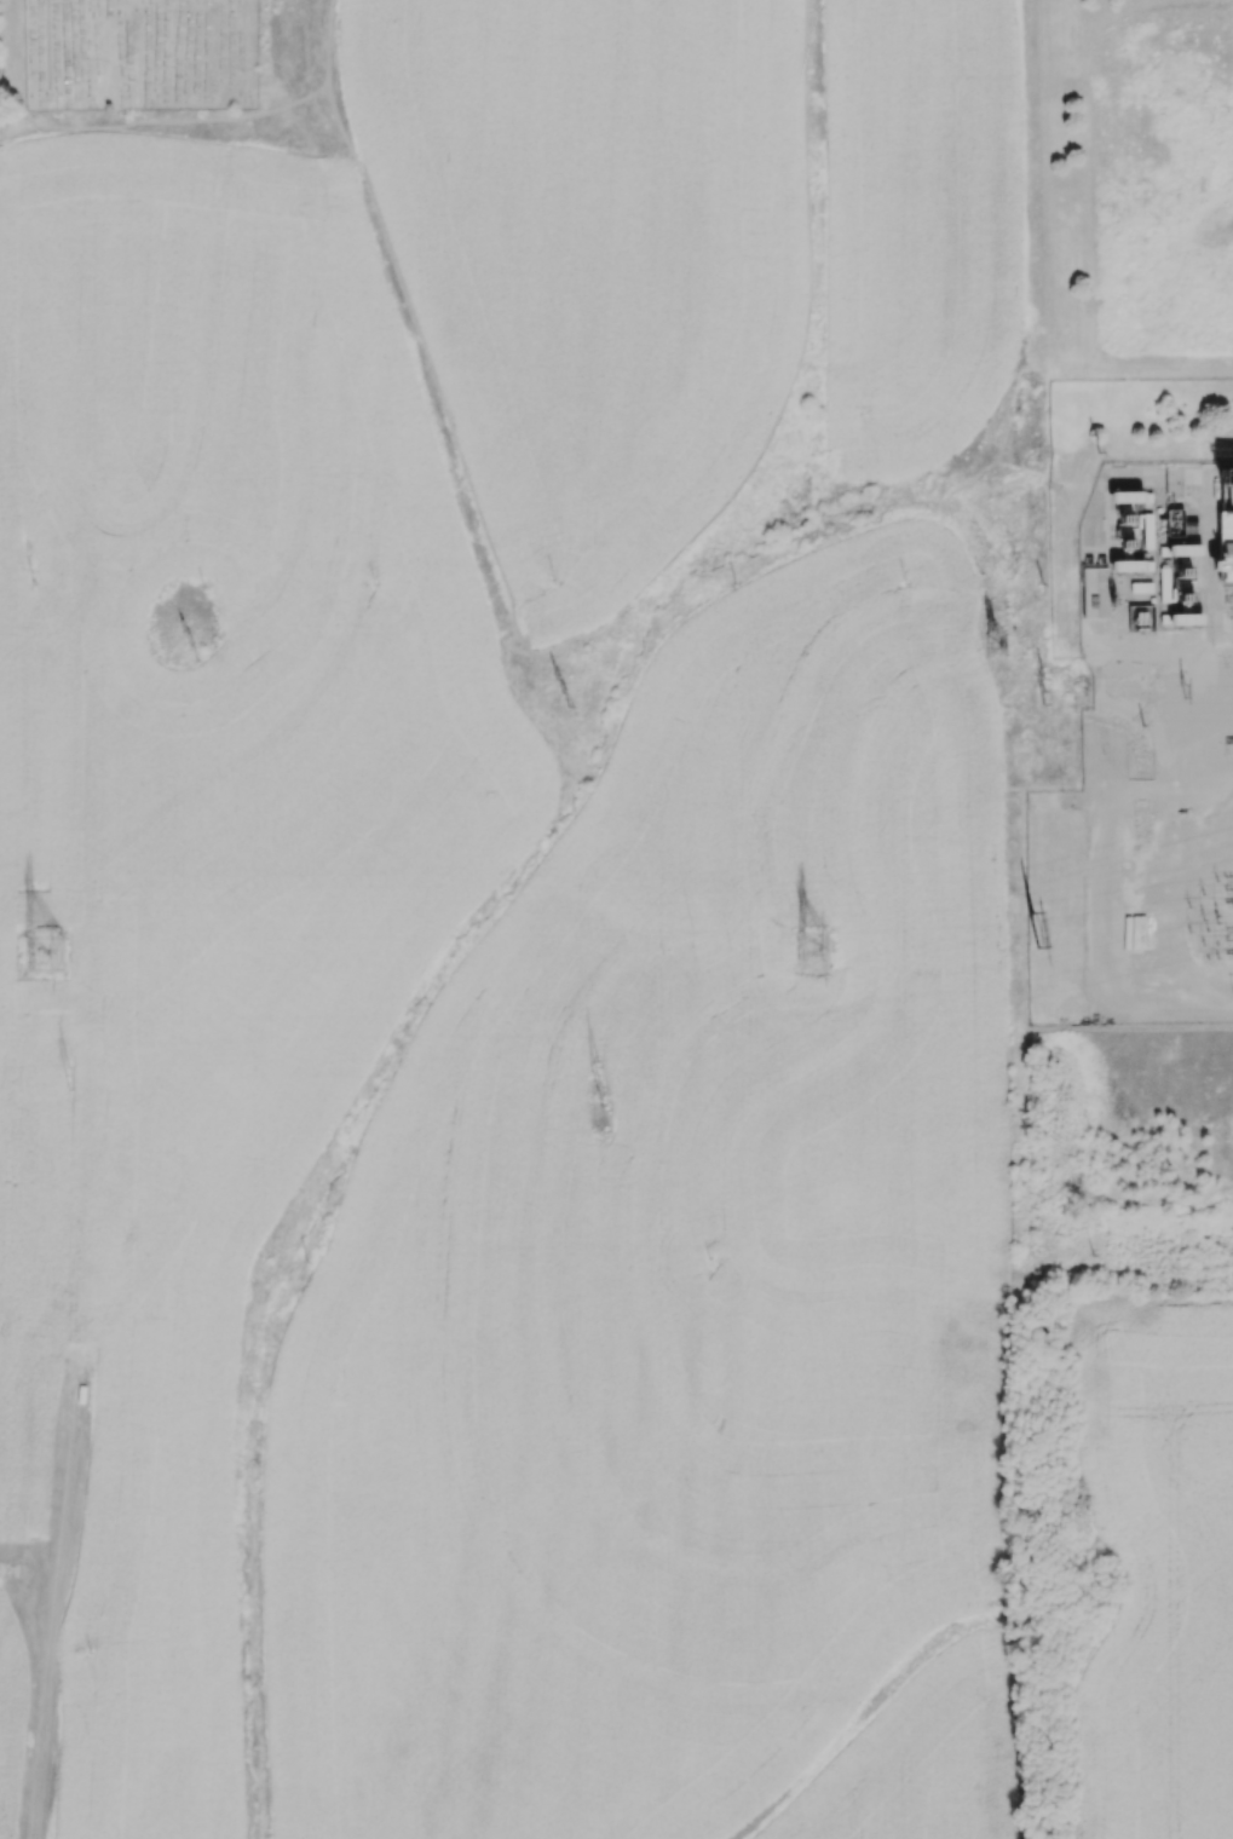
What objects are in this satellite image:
building: (1127, 521)
building: (1223, 547)
building: (1094, 592)
power tower: (1001, 644)
power tower: (196, 645)
power tower: (1053, 692)
power tower: (1193, 692)
power tower: (571, 694)
power substation: (1160, 748)
power tower: (1037, 935)
power tower: (814, 946)
power tower: (47, 953)
power tower: (77, 1074)
power tower: (604, 1078)
crop: (1157, 1567)
road: (56, 1605)

